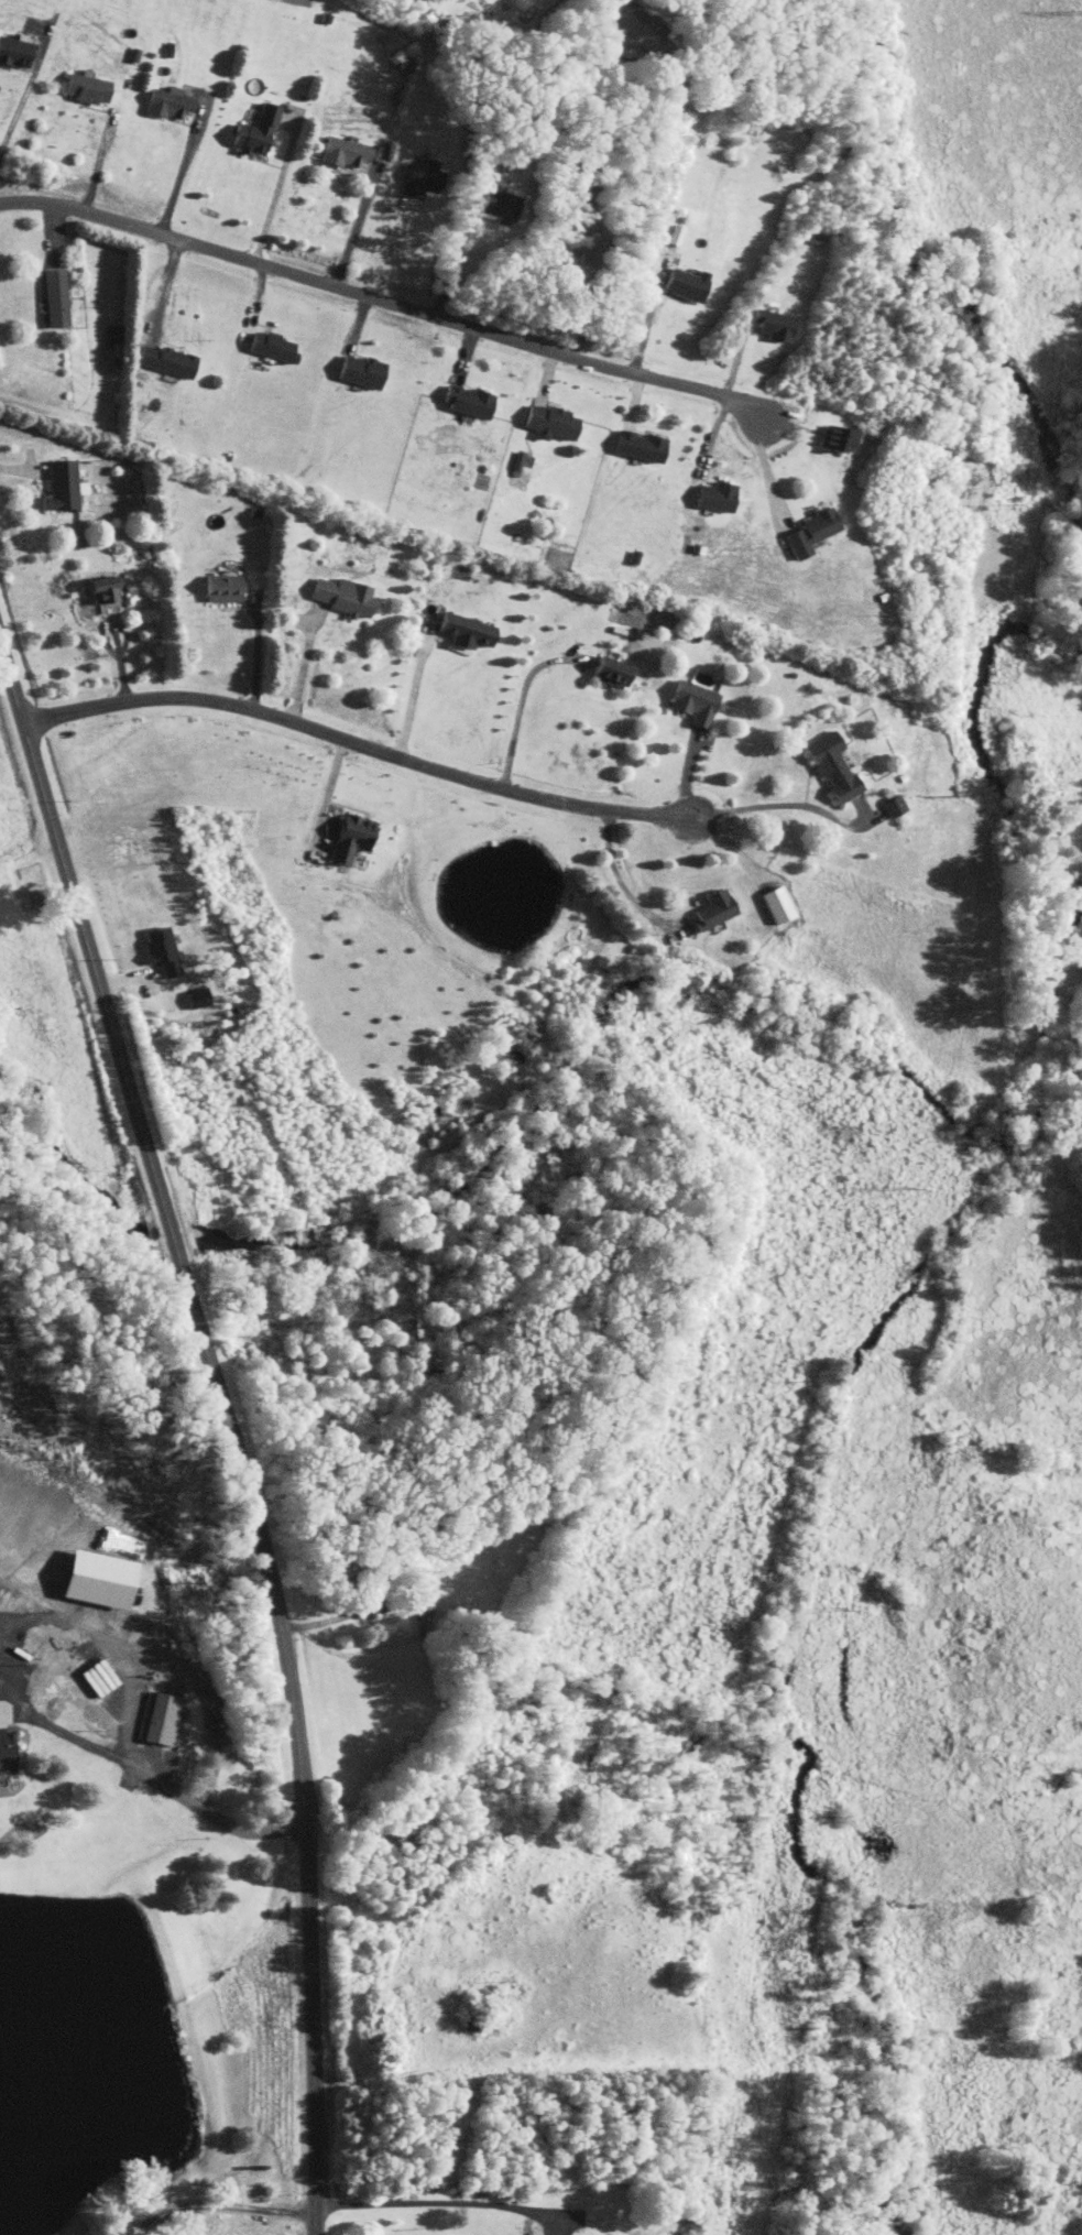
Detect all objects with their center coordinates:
road: (600, 15)
building: (632, 29)
building: (13, 53)
building: (85, 87)
road: (24, 95)
building: (165, 102)
building: (253, 131)
building: (342, 152)
road: (100, 161)
road: (172, 179)
building: (416, 181)
road: (267, 196)
building: (495, 206)
road: (349, 225)
building: (577, 241)
road: (393, 248)
road: (456, 263)
building: (682, 284)
road: (165, 290)
building: (54, 298)
road: (383, 301)
building: (770, 325)
building: (271, 347)
building: (165, 360)
building: (358, 371)
building: (465, 402)
building: (548, 423)
building: (833, 439)
building: (636, 446)
road: (25, 470)
road: (765, 472)
building: (59, 484)
building: (713, 497)
power tower: (1019, 503)
building: (809, 532)
building: (99, 587)
building: (220, 587)
building: (340, 595)
building: (461, 630)
road: (259, 651)
road: (305, 662)
building: (610, 672)
road: (417, 682)
building: (691, 701)
road: (522, 702)
road: (357, 742)
building: (829, 765)
road: (328, 795)
power tower: (972, 796)
building: (892, 805)
road: (778, 806)
building: (347, 837)
road: (622, 885)
building: (775, 904)
building: (711, 908)
building: (156, 948)
building: (194, 997)
power tower: (908, 1189)
road: (229, 1426)
building: (90, 1579)
building: (418, 1602)
power tower: (839, 1607)
road: (194, 1679)
building: (157, 1719)
building: (7, 1749)
road: (153, 1777)
power tower: (756, 2135)
road: (444, 2203)

